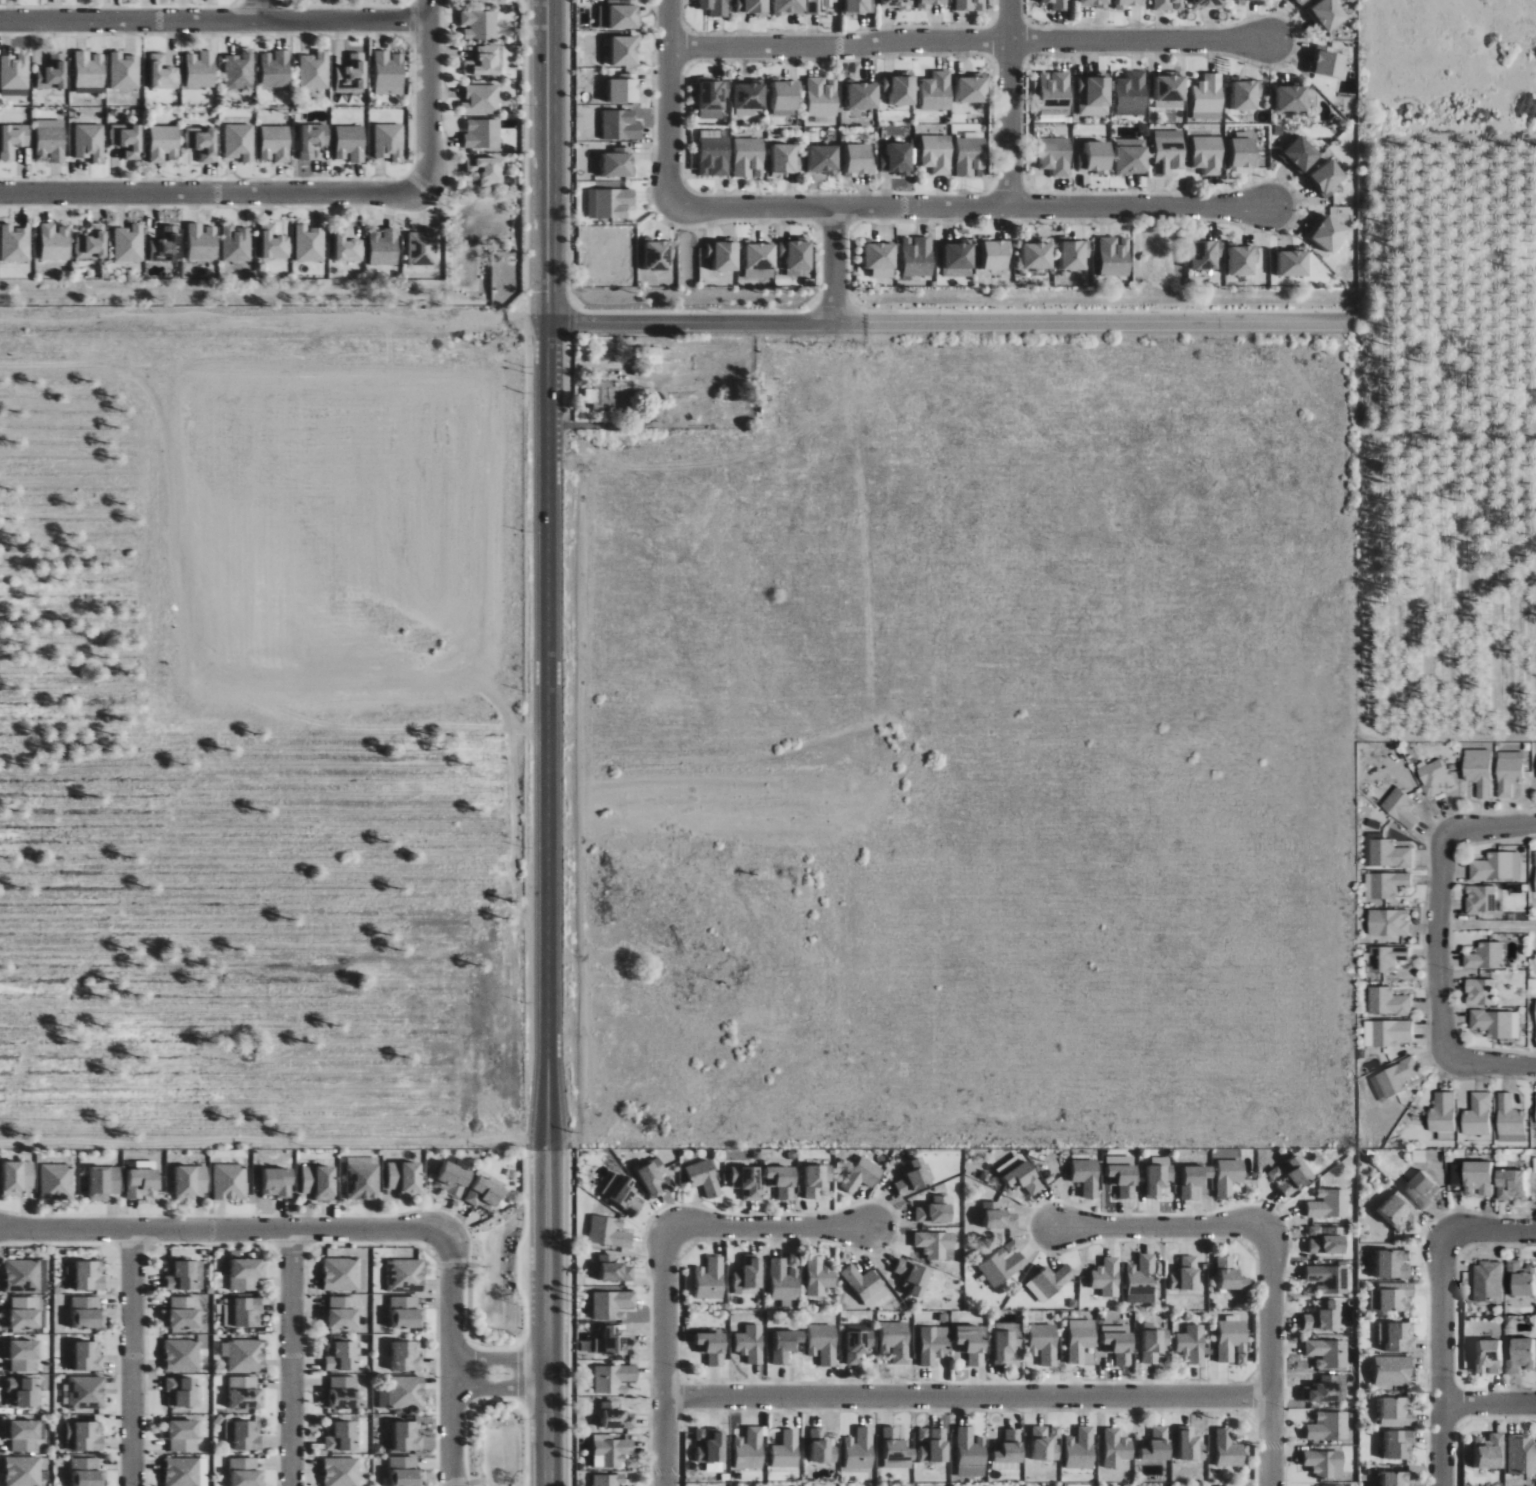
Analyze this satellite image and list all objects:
building: (497, 0)
building: (1248, 0)
building: (1300, 1)
building: (933, 2)
building: (1095, 3)
building: (1128, 3)
building: (1208, 3)
building: (898, 4)
building: (968, 4)
building: (1060, 4)
building: (820, 5)
building: (1169, 5)
building: (752, 6)
building: (790, 6)
building: (859, 6)
building: (716, 7)
road: (257, 10)
building: (1329, 13)
building: (620, 14)
road: (214, 21)
building: (480, 24)
road: (970, 41)
building: (625, 50)
building: (486, 61)
building: (1328, 62)
building: (90, 69)
building: (201, 69)
building: (276, 69)
building: (240, 70)
building: (15, 71)
building: (125, 71)
building: (314, 71)
building: (53, 73)
building: (163, 73)
building: (389, 73)
building: (352, 75)
building: (625, 88)
building: (901, 89)
building: (972, 89)
building: (937, 91)
building: (1170, 91)
building: (1055, 93)
building: (1209, 93)
building: (864, 94)
building: (1132, 94)
road: (428, 95)
building: (1094, 95)
building: (1247, 95)
building: (823, 96)
building: (750, 97)
building: (786, 97)
building: (1292, 98)
building: (481, 99)
road: (669, 102)
road: (1009, 103)
building: (621, 125)
building: (483, 134)
building: (14, 139)
building: (127, 139)
building: (313, 139)
building: (390, 141)
building: (90, 142)
building: (202, 142)
building: (239, 142)
building: (51, 143)
building: (164, 143)
building: (275, 143)
building: (351, 143)
building: (1244, 149)
building: (1169, 152)
building: (937, 153)
building: (1208, 154)
building: (970, 155)
building: (1301, 155)
building: (715, 156)
building: (1057, 156)
building: (1133, 156)
building: (749, 157)
building: (1097, 157)
building: (898, 158)
building: (786, 159)
building: (824, 159)
building: (859, 159)
building: (619, 163)
building: (487, 170)
building: (1326, 179)
road: (212, 194)
building: (611, 203)
road: (971, 207)
building: (1328, 232)
building: (55, 242)
building: (203, 242)
building: (16, 243)
building: (92, 243)
building: (129, 243)
building: (237, 243)
building: (274, 243)
building: (310, 243)
building: (167, 245)
building: (348, 246)
building: (385, 247)
building: (424, 249)
building: (659, 254)
building: (724, 254)
building: (959, 254)
building: (995, 254)
building: (1075, 254)
building: (1207, 254)
building: (1038, 255)
building: (1115, 255)
building: (796, 256)
building: (918, 256)
building: (881, 259)
building: (760, 260)
building: (1243, 261)
building: (1294, 262)
road: (834, 264)
road: (709, 322)
road: (1112, 322)
building: (651, 356)
building: (607, 397)
road: (1361, 402)
road: (1454, 433)
road: (1372, 581)
road: (308, 721)
crop: (262, 742)
road: (546, 742)
building: (1480, 775)
building: (1510, 776)
building: (1436, 777)
building: (1402, 808)
road: (1490, 827)
building: (1390, 855)
building: (1493, 867)
building: (1389, 884)
building: (1535, 885)
building: (1483, 899)
building: (1394, 923)
park: (1502, 933)
road: (1436, 944)
road: (1424, 945)
road: (1448, 945)
building: (1487, 956)
building: (1388, 958)
building: (1482, 992)
building: (1389, 1002)
building: (1535, 1002)
building: (1494, 1023)
building: (1393, 1032)
road: (1490, 1064)
building: (1398, 1076)
building: (1535, 1110)
building: (1444, 1112)
building: (1478, 1114)
building: (1510, 1116)
road: (258, 1142)
road: (531, 1143)
building: (1021, 1174)
building: (15, 1175)
building: (862, 1175)
building: (1123, 1175)
building: (1159, 1175)
building: (1289, 1175)
building: (402, 1176)
building: (1087, 1176)
building: (1224, 1176)
building: (653, 1177)
building: (704, 1177)
building: (913, 1177)
building: (1476, 1177)
building: (451, 1179)
building: (188, 1180)
building: (275, 1180)
building: (315, 1180)
building: (817, 1180)
building: (101, 1181)
building: (138, 1181)
building: (747, 1181)
building: (783, 1181)
building: (1192, 1181)
building: (54, 1182)
building: (228, 1182)
building: (361, 1182)
building: (1509, 1184)
building: (1419, 1190)
building: (482, 1191)
building: (623, 1192)
building: (1326, 1204)
building: (936, 1210)
building: (1395, 1211)
road: (295, 1216)
building: (999, 1216)
road: (773, 1227)
road: (1154, 1227)
road: (223, 1230)
building: (610, 1231)
road: (1490, 1231)
building: (1323, 1239)
road: (211, 1243)
road: (368, 1244)
road: (520, 1244)
building: (937, 1244)
road: (291, 1246)
road: (132, 1247)
building: (1003, 1263)
building: (1388, 1264)
building: (613, 1269)
building: (242, 1273)
building: (750, 1273)
building: (338, 1274)
building: (1187, 1274)
building: (1230, 1274)
building: (20, 1275)
building: (85, 1275)
building: (403, 1275)
building: (179, 1276)
building: (820, 1276)
building: (914, 1276)
building: (1107, 1277)
building: (710, 1278)
building: (786, 1279)
building: (1325, 1279)
building: (1520, 1279)
building: (1142, 1280)
building: (1050, 1281)
building: (1487, 1282)
building: (867, 1285)
building: (1388, 1296)
building: (613, 1304)
road: (119, 1308)
building: (243, 1311)
building: (22, 1312)
building: (181, 1312)
building: (340, 1312)
building: (402, 1312)
building: (84, 1313)
building: (1317, 1318)
building: (1393, 1337)
building: (1232, 1340)
building: (896, 1341)
building: (1082, 1341)
building: (617, 1342)
building: (859, 1342)
building: (751, 1343)
building: (823, 1343)
building: (973, 1343)
building: (1044, 1343)
building: (1119, 1343)
building: (1192, 1343)
building: (786, 1344)
building: (933, 1344)
building: (1154, 1344)
building: (1006, 1345)
road: (476, 1347)
building: (713, 1347)
road: (502, 1349)
building: (1325, 1353)
building: (21, 1355)
building: (1518, 1355)
building: (84, 1356)
building: (180, 1356)
building: (244, 1356)
building: (1484, 1356)
building: (339, 1357)
building: (402, 1357)
road: (132, 1358)
road: (291, 1358)
road: (665, 1358)
road: (1270, 1358)
road: (450, 1359)
road: (1442, 1360)
road: (499, 1361)
building: (1389, 1371)
road: (470, 1374)
road: (521, 1374)
building: (615, 1378)
road: (499, 1389)
building: (1324, 1389)
building: (180, 1391)
building: (22, 1392)
building: (341, 1392)
building: (85, 1393)
building: (241, 1393)
building: (404, 1393)
building: (383, 1397)
road: (967, 1397)
road: (502, 1399)
road: (476, 1400)
road: (1489, 1405)
building: (1392, 1412)
building: (617, 1416)
building: (1325, 1426)
building: (20, 1435)
building: (180, 1435)
building: (243, 1436)
building: (84, 1437)
building: (338, 1437)
building: (403, 1437)
building: (1047, 1442)
road: (465, 1443)
road: (526, 1444)
building: (933, 1444)
building: (1157, 1444)
building: (1189, 1444)
building: (1394, 1445)
building: (822, 1447)
building: (711, 1448)
building: (1081, 1448)
building: (1117, 1448)
building: (750, 1449)
building: (787, 1449)
building: (860, 1449)
building: (1228, 1449)
building: (897, 1450)
building: (1009, 1451)
building: (1484, 1451)
building: (612, 1452)
building: (971, 1453)
building: (1519, 1454)
building: (1320, 1463)
building: (21, 1471)
building: (401, 1471)
building: (84, 1472)
building: (180, 1472)
building: (241, 1472)
building: (339, 1472)
building: (1389, 1479)
building: (610, 1480)
building: (1345, 1485)

